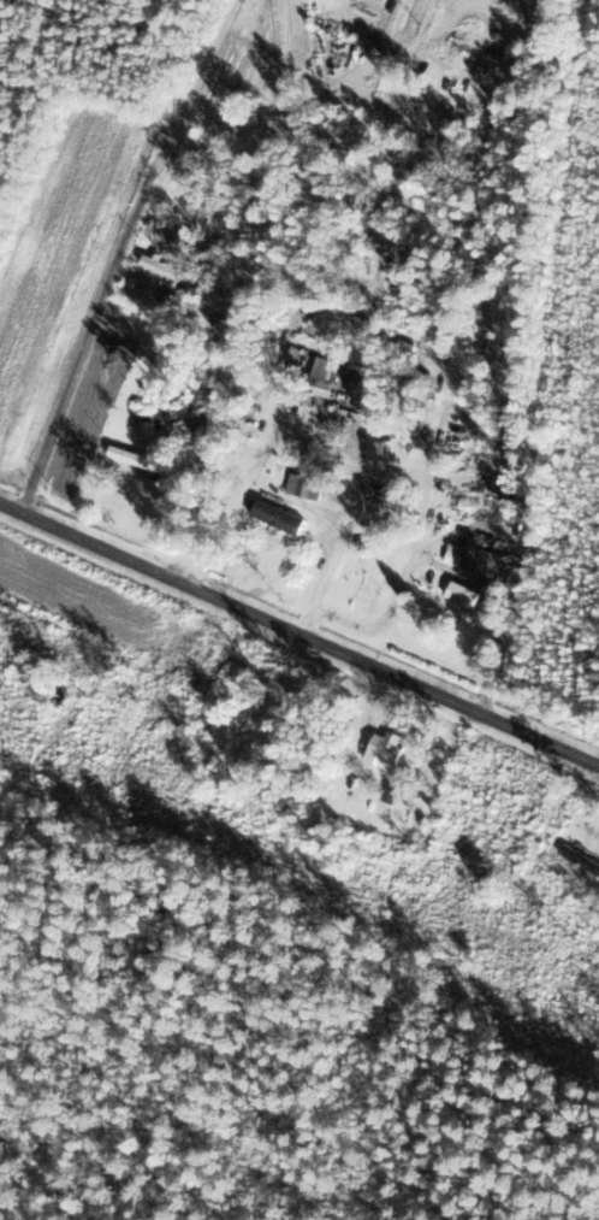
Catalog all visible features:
building: (165, 231)
road: (123, 254)
building: (166, 269)
building: (210, 361)
building: (324, 378)
building: (144, 417)
building: (197, 419)
building: (132, 459)
building: (304, 488)
building: (278, 518)
building: (472, 558)
building: (463, 595)
road: (298, 633)
building: (385, 748)
building: (580, 860)

